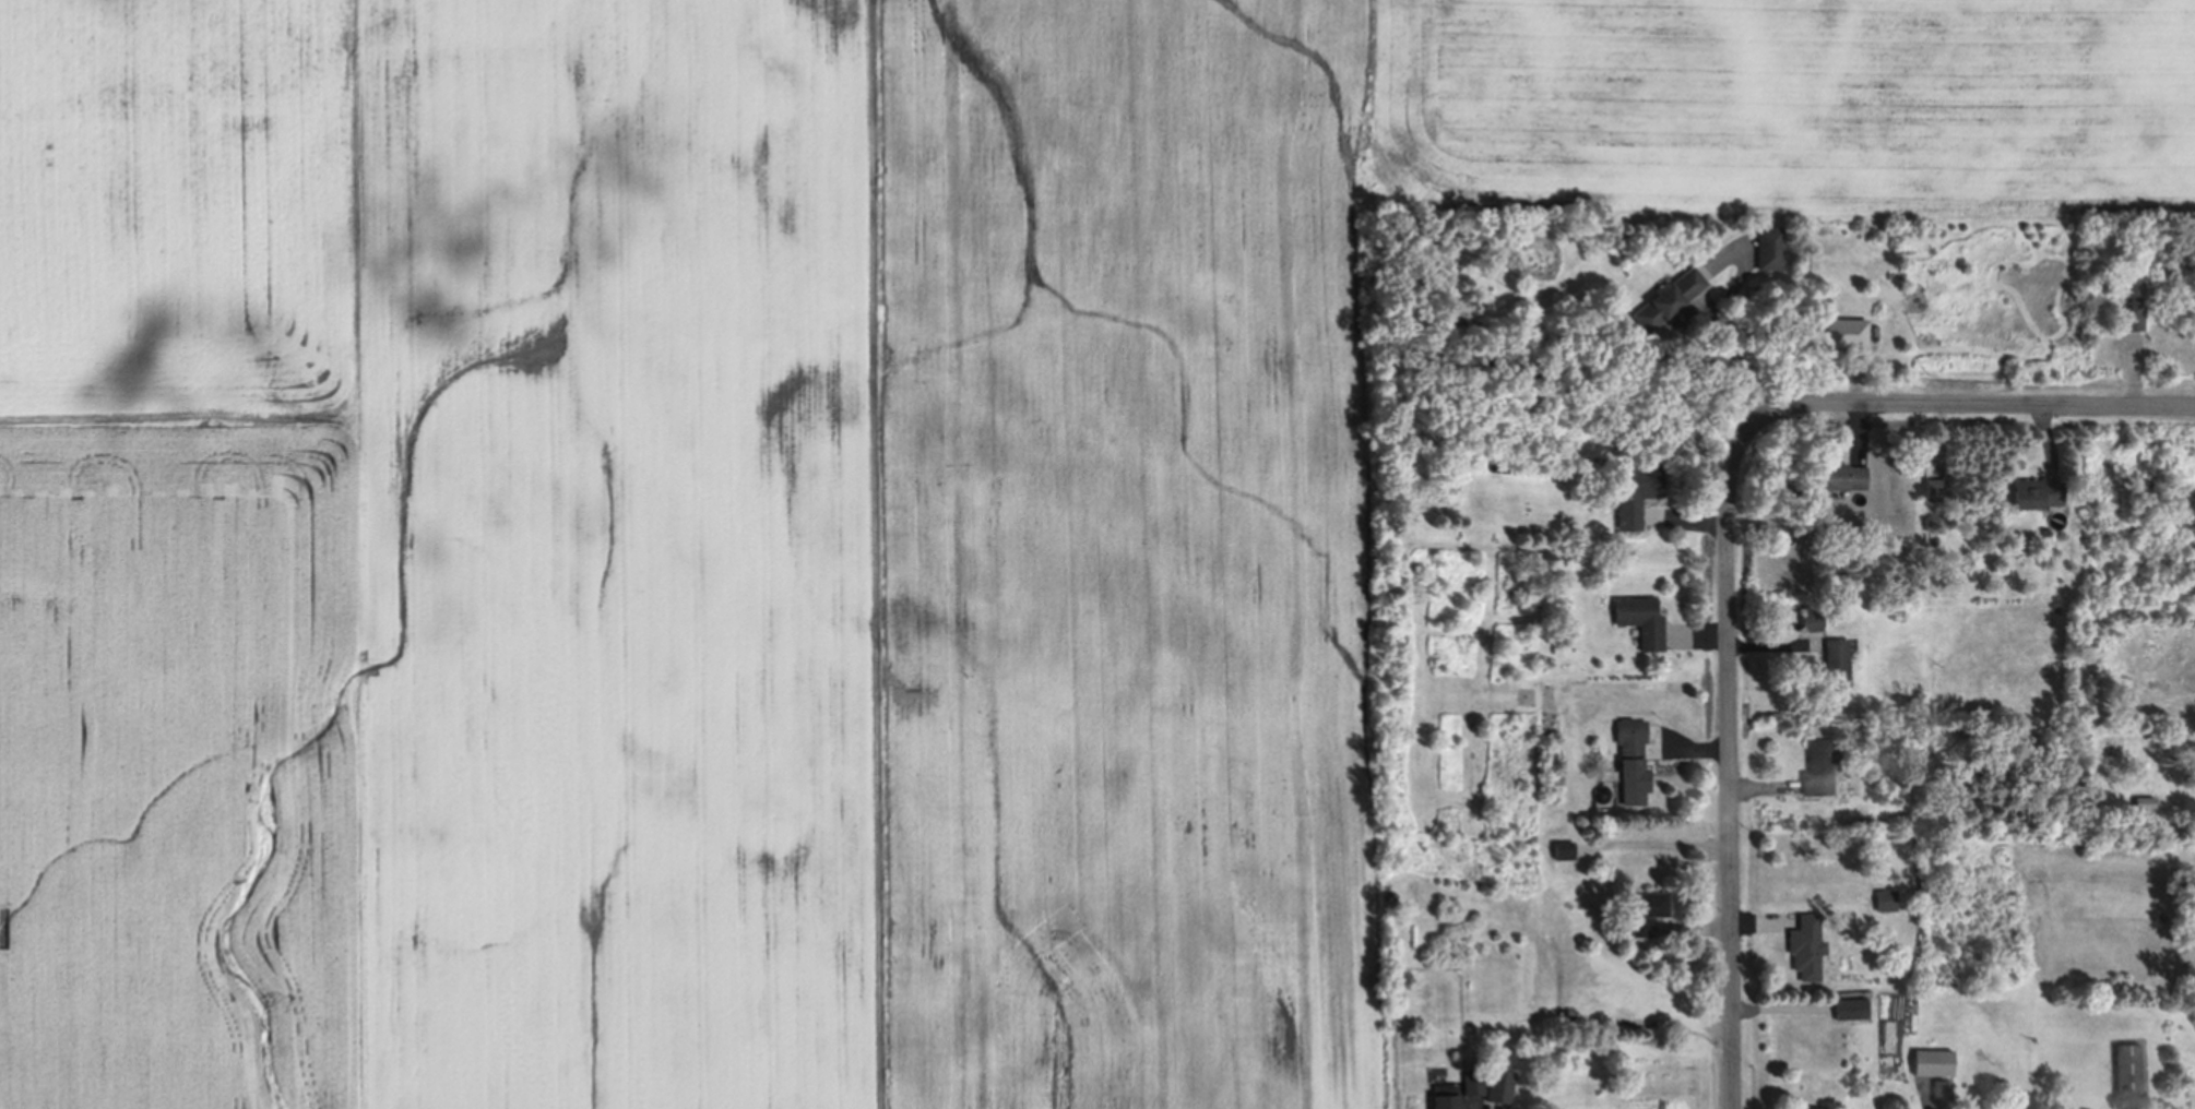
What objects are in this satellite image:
building: (1768, 248)
building: (1668, 300)
building: (2133, 305)
building: (1847, 334)
road: (1732, 354)
road: (2131, 369)
road: (1854, 377)
road: (1962, 406)
road: (1856, 436)
road: (1936, 442)
building: (1500, 463)
building: (1842, 477)
building: (1937, 490)
building: (1635, 491)
building: (2038, 497)
building: (1657, 518)
road: (1684, 521)
building: (1640, 620)
building: (1813, 621)
road: (1695, 637)
road: (1767, 646)
building: (1838, 664)
building: (1630, 738)
road: (1686, 752)
building: (1820, 767)
road: (1729, 773)
building: (1635, 782)
road: (1766, 789)
building: (1532, 840)
building: (1565, 854)
building: (1887, 903)
building: (1647, 913)
road: (1763, 923)
road: (1692, 929)
building: (1807, 946)
road: (1782, 1007)
building: (1851, 1012)
building: (1934, 1068)
building: (2129, 1073)
building: (1474, 1089)
building: (1499, 1092)
building: (1942, 1095)
building: (1446, 1099)
building: (1810, 1108)

